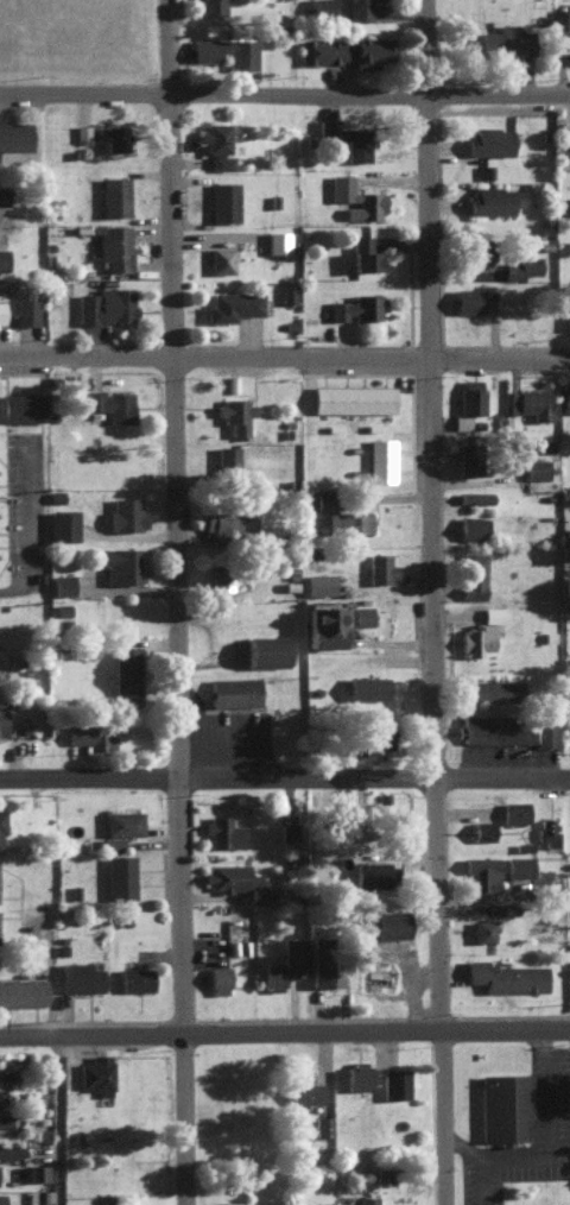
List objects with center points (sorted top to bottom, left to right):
building: (381, 0)
building: (213, 5)
building: (321, 6)
building: (357, 10)
building: (560, 17)
building: (506, 39)
building: (568, 46)
building: (344, 49)
building: (224, 50)
road: (285, 96)
building: (82, 132)
building: (112, 135)
building: (346, 137)
building: (13, 138)
building: (489, 139)
building: (216, 145)
building: (2, 191)
building: (114, 195)
building: (353, 195)
building: (223, 198)
building: (494, 198)
building: (564, 208)
road: (1, 225)
building: (277, 240)
building: (114, 247)
building: (361, 252)
building: (476, 252)
building: (2, 258)
building: (220, 258)
building: (521, 265)
building: (286, 291)
building: (467, 298)
building: (106, 304)
building: (230, 304)
building: (355, 305)
building: (25, 309)
building: (1, 310)
building: (566, 314)
road: (284, 359)
building: (470, 395)
building: (565, 397)
building: (354, 398)
building: (532, 400)
building: (109, 403)
building: (20, 405)
building: (234, 414)
building: (461, 421)
building: (226, 455)
building: (468, 458)
building: (379, 459)
building: (536, 467)
building: (475, 496)
building: (337, 512)
building: (125, 513)
building: (229, 523)
building: (63, 524)
road: (27, 525)
building: (471, 526)
building: (116, 562)
building: (378, 567)
building: (471, 573)
building: (218, 579)
building: (319, 581)
building: (62, 583)
building: (566, 585)
road: (188, 601)
road: (437, 602)
building: (62, 610)
building: (361, 614)
building: (323, 625)
building: (477, 639)
building: (264, 651)
building: (125, 674)
building: (366, 687)
building: (494, 689)
building: (233, 690)
building: (1, 720)
building: (496, 727)
building: (545, 733)
building: (374, 734)
building: (91, 737)
road: (285, 782)
building: (512, 809)
building: (122, 821)
building: (1, 828)
building: (481, 828)
building: (222, 831)
building: (287, 831)
building: (545, 831)
building: (112, 841)
building: (522, 844)
building: (517, 865)
building: (481, 870)
building: (372, 873)
building: (119, 876)
building: (232, 876)
building: (481, 929)
building: (324, 963)
building: (285, 964)
building: (78, 973)
building: (375, 973)
building: (505, 976)
building: (134, 977)
building: (218, 977)
building: (23, 992)
road: (285, 1036)
building: (96, 1071)
building: (357, 1074)
building: (393, 1081)
building: (304, 1092)
building: (506, 1108)
road: (69, 1123)
building: (322, 1124)
building: (11, 1149)
building: (38, 1171)
building: (0, 1200)
building: (367, 1200)
building: (489, 1204)

